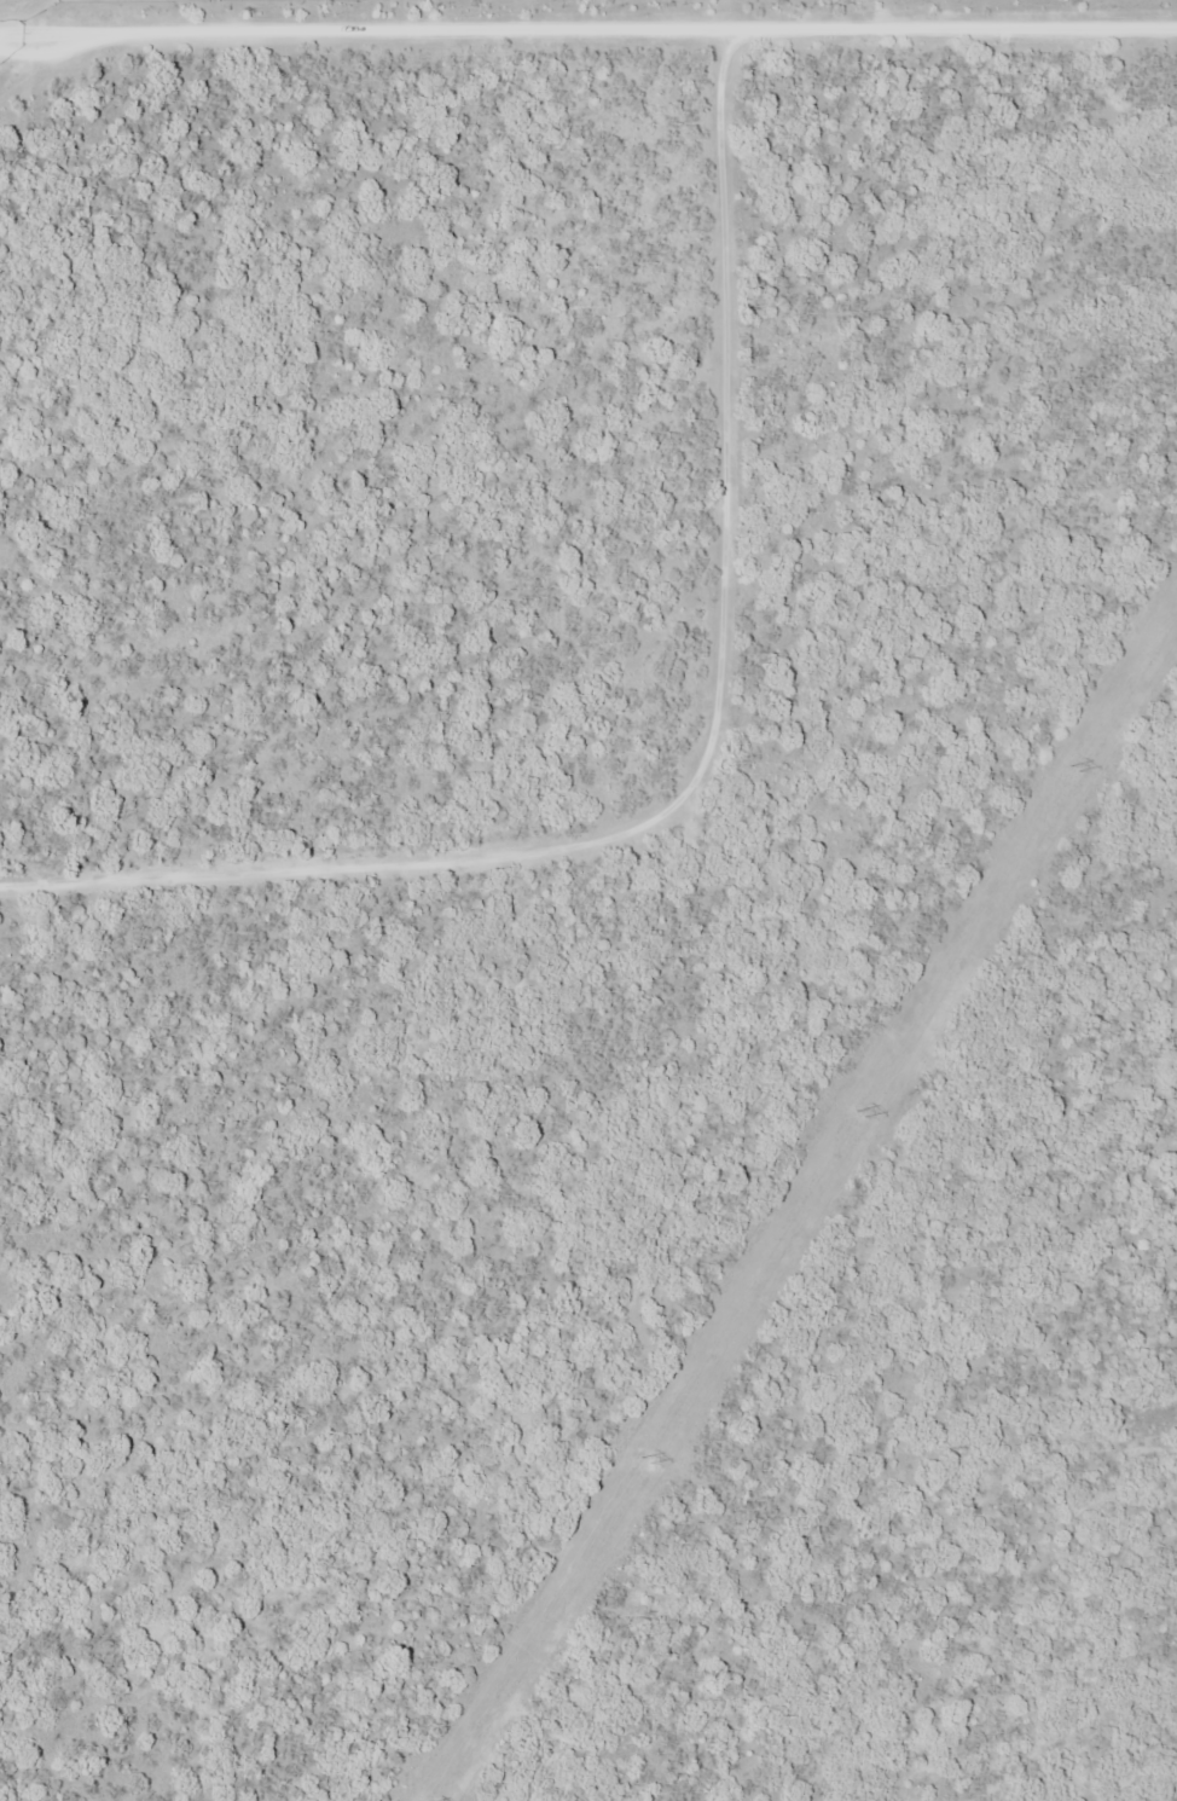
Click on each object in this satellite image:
road: (588, 25)
road: (694, 760)
power tower: (1072, 769)
power tower: (857, 1112)
power tower: (642, 1459)

